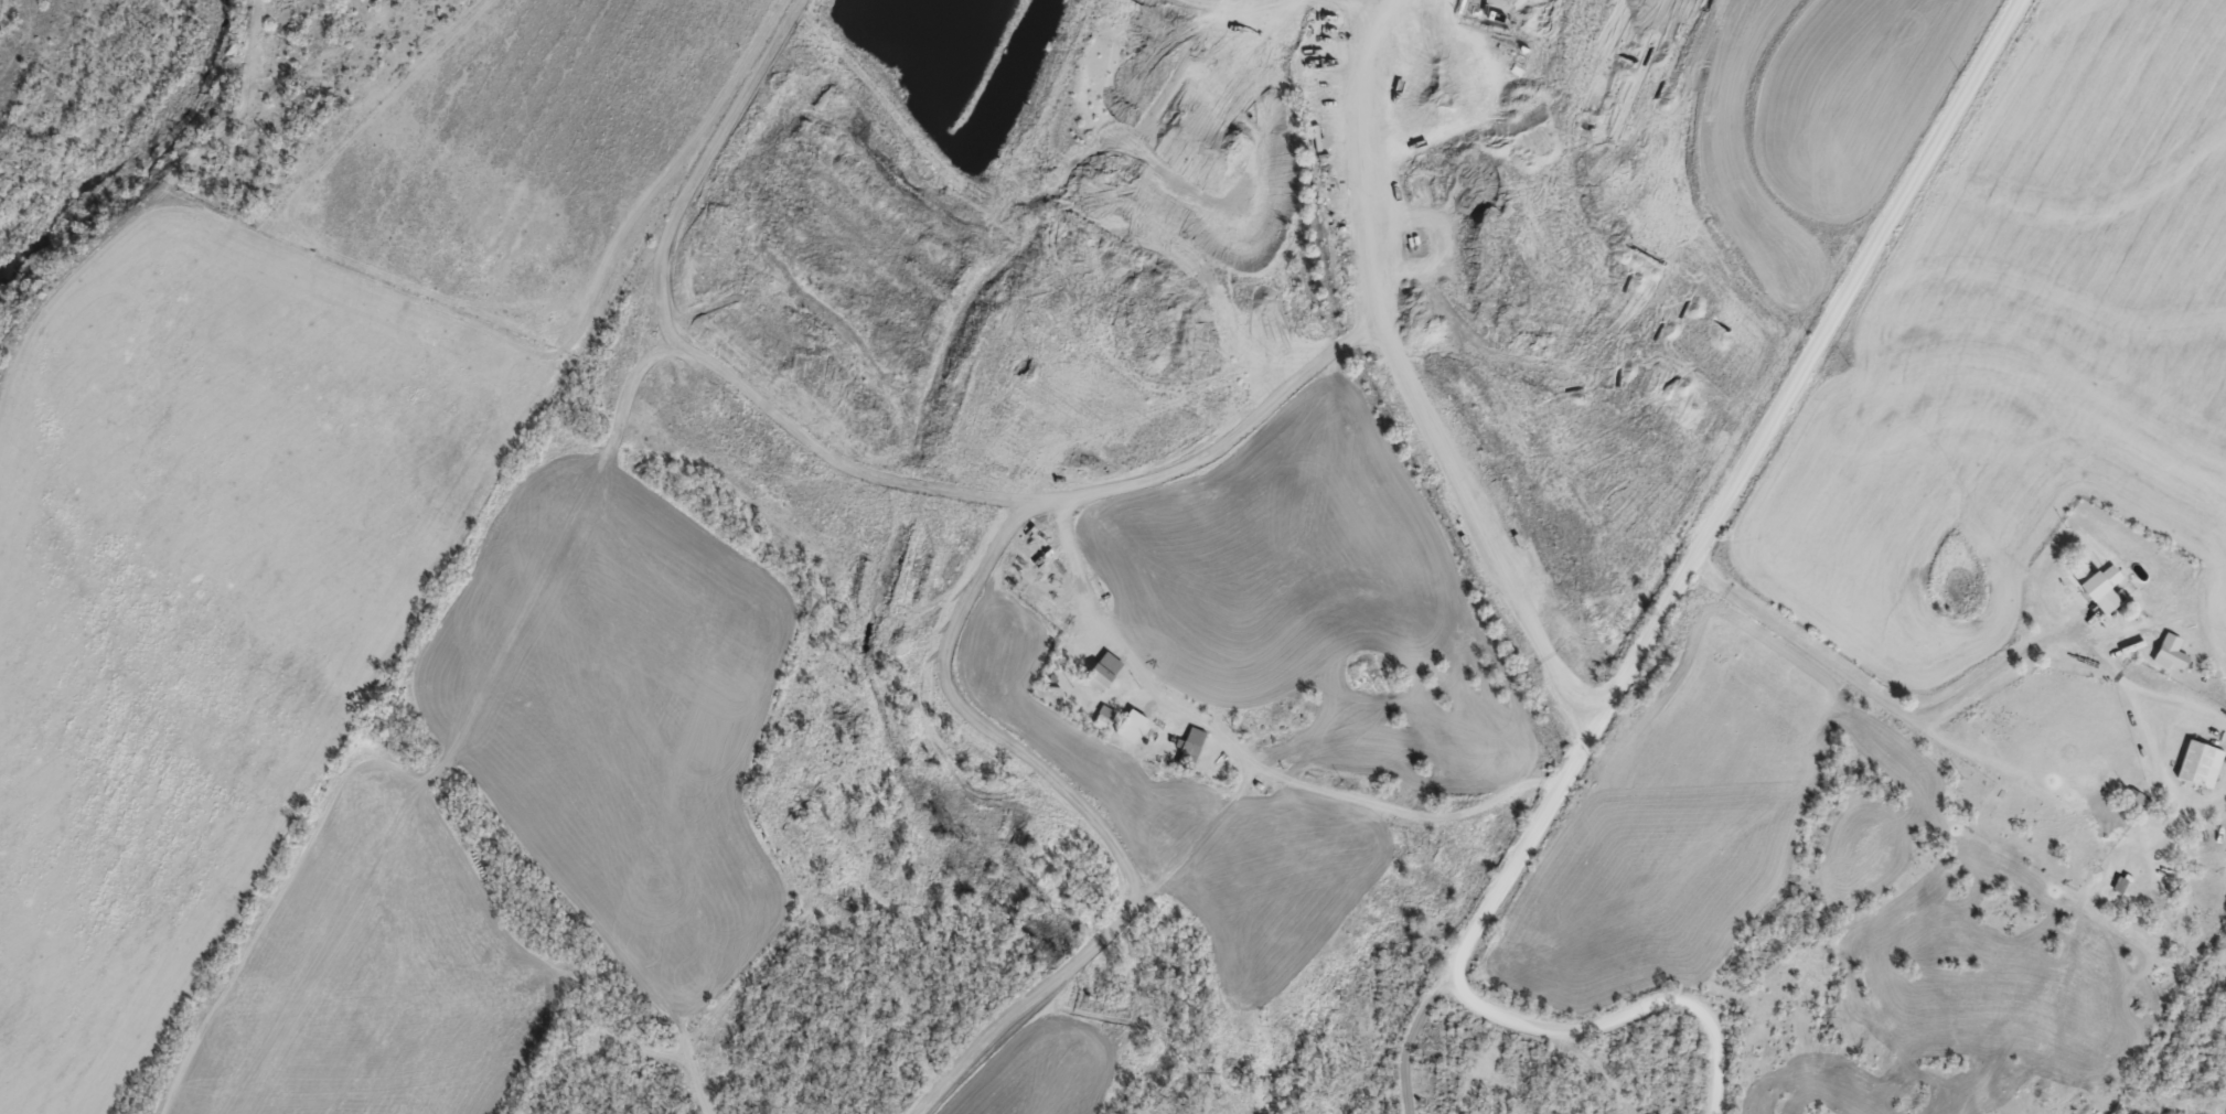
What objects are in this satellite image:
river: (131, 143)
road: (1709, 544)
building: (2108, 588)
building: (2174, 652)
building: (1109, 672)
building: (2204, 763)
road: (1165, 808)
road: (1855, 824)
road: (942, 883)
road: (1928, 950)
road: (717, 1031)

